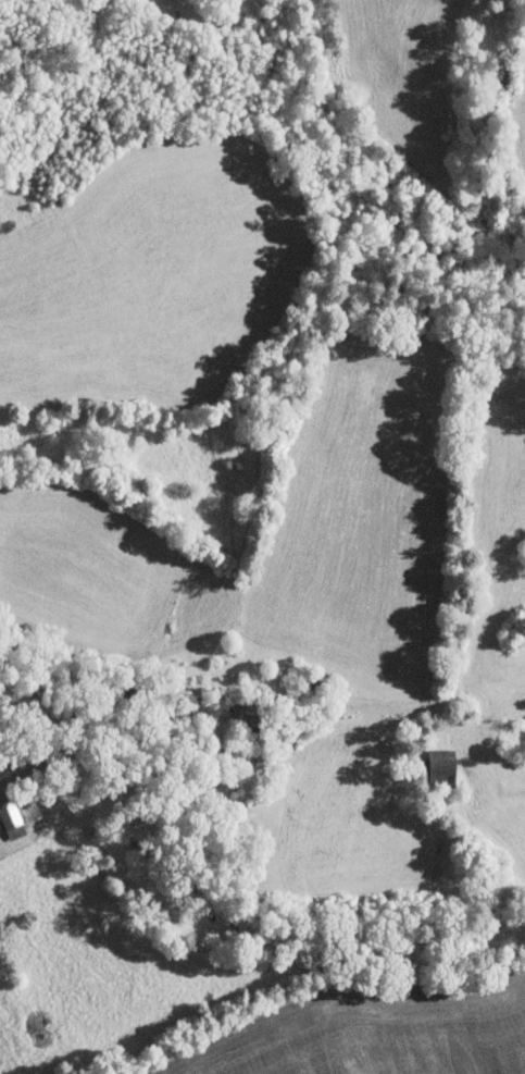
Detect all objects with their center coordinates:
building: (251, 716)
road: (87, 746)
building: (11, 816)

